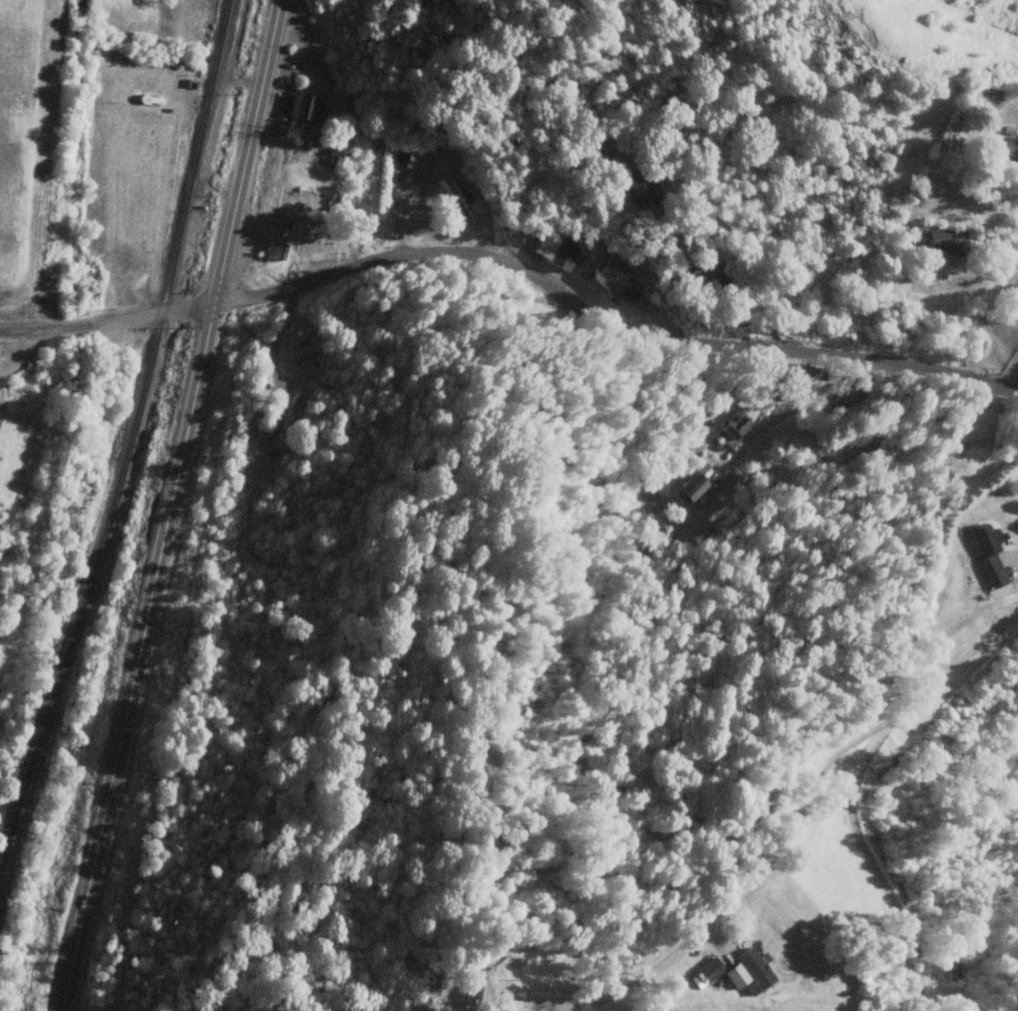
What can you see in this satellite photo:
road: (190, 307)
road: (607, 322)
road: (82, 324)
road: (1007, 370)
railway: (130, 466)
road: (173, 506)
road: (795, 819)

